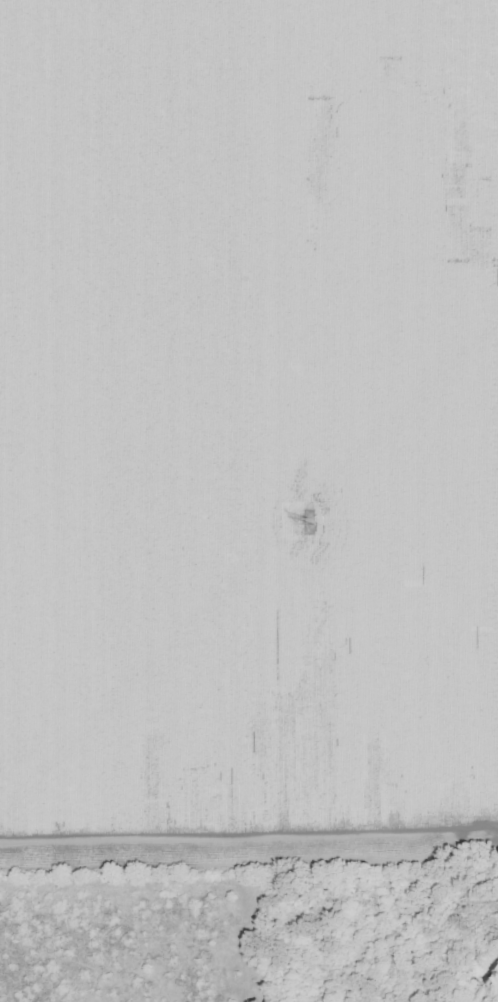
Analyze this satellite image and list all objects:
power tower: (314, 523)

